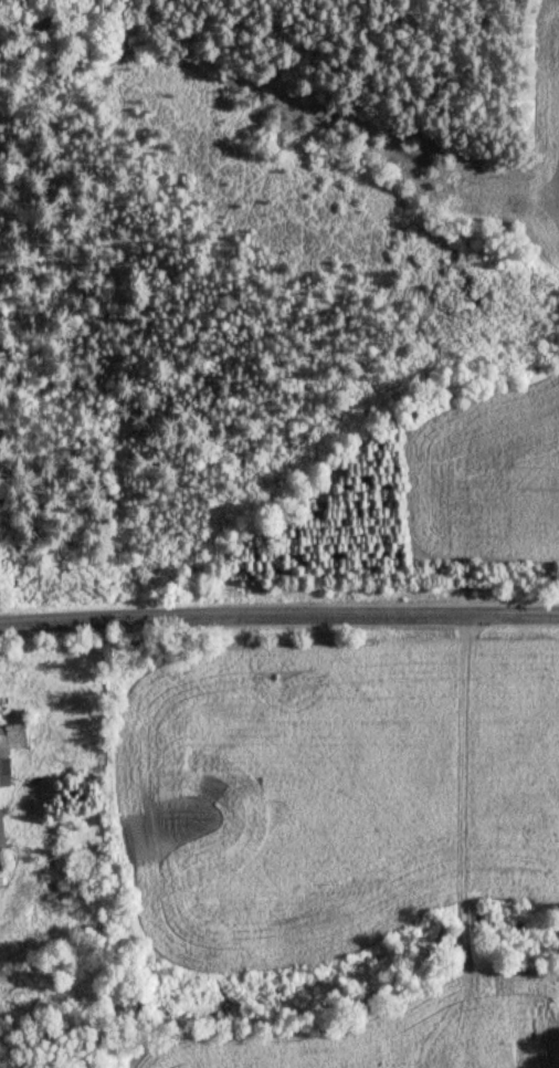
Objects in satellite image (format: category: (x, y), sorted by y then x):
road: (279, 626)
building: (10, 750)
building: (3, 836)

